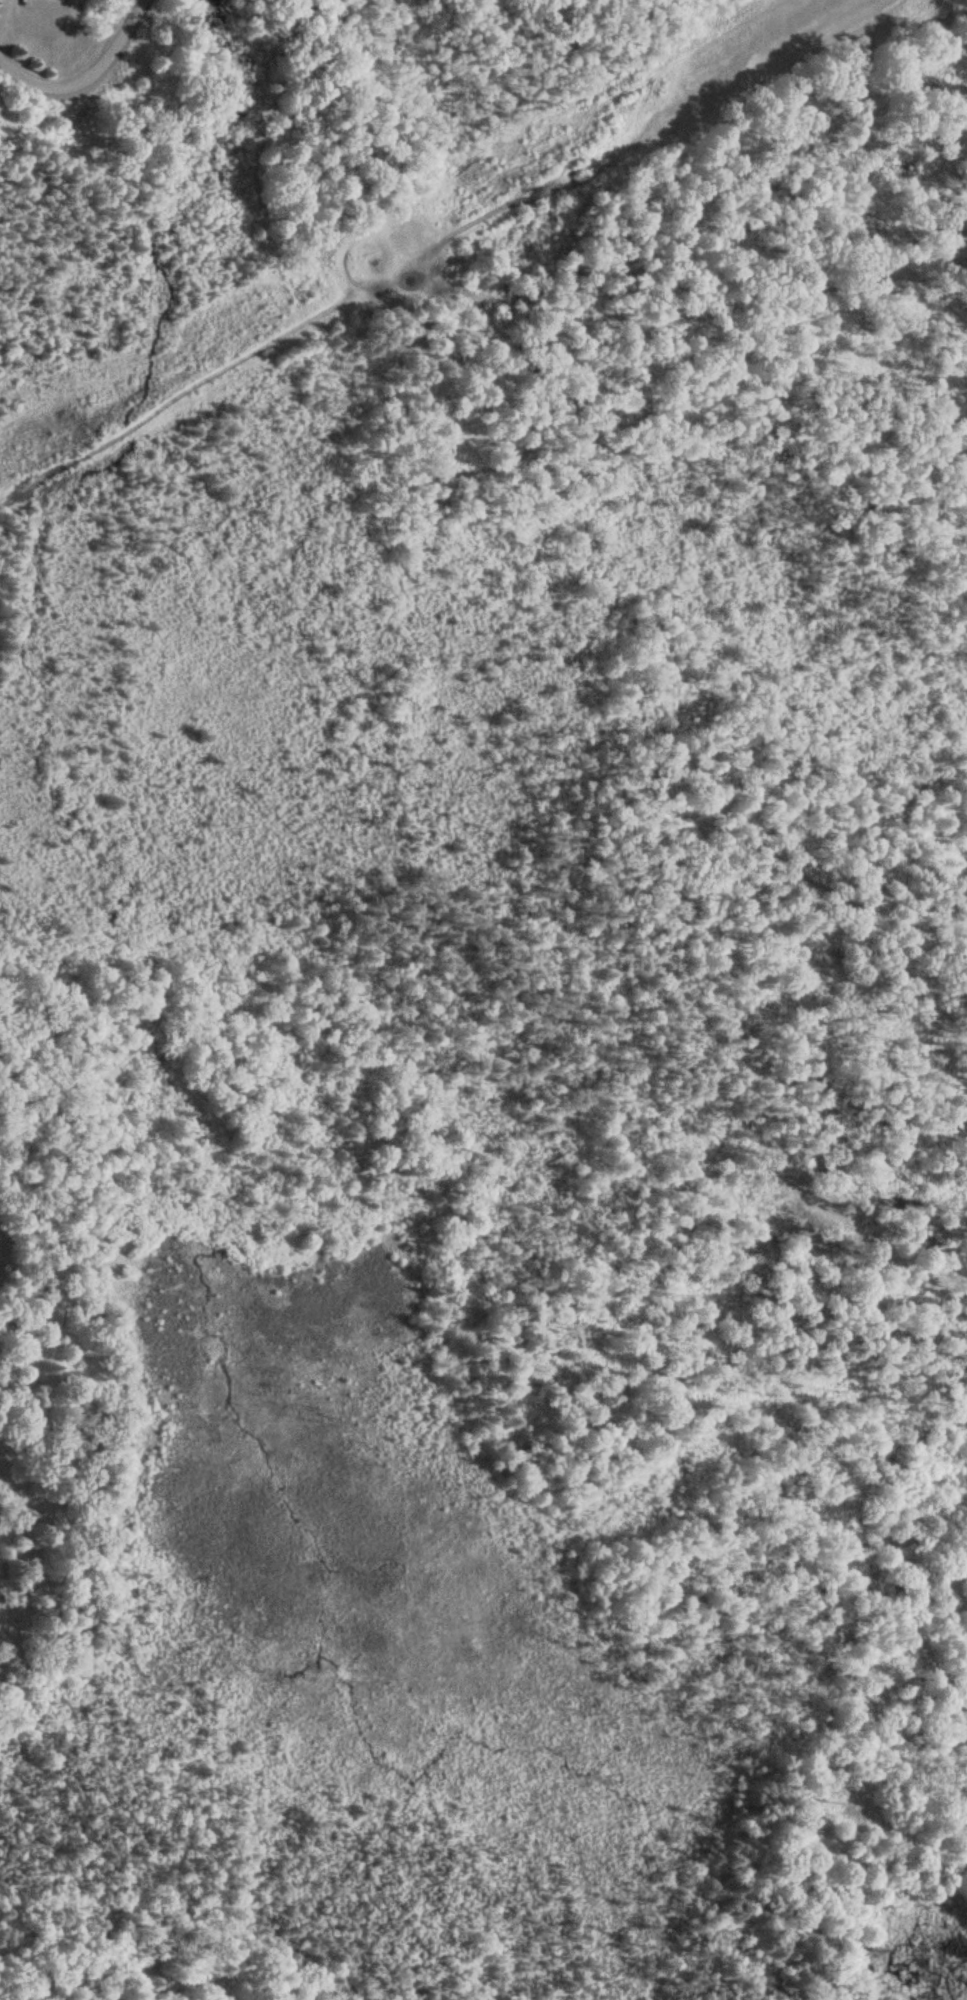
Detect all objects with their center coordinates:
road: (0, 60)
road: (88, 84)
road: (62, 147)
road: (447, 248)

